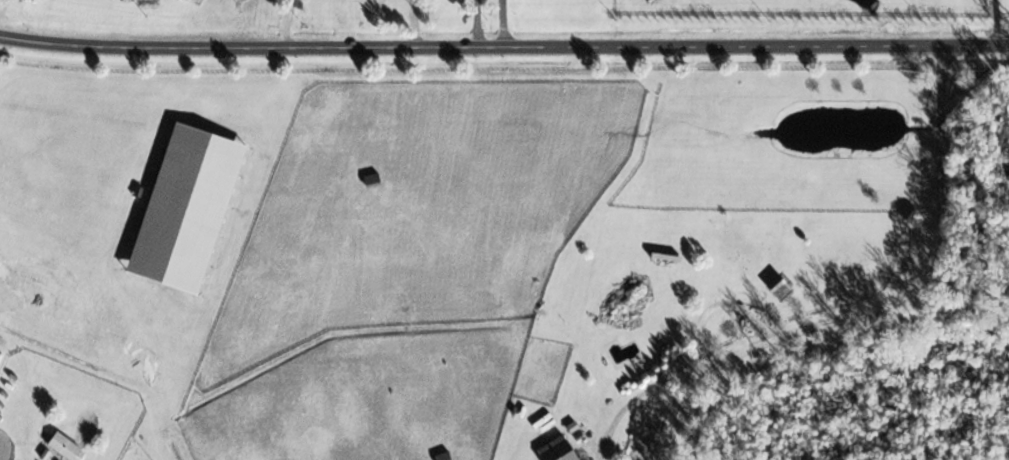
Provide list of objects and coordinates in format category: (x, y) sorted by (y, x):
road: (3, 11)
road: (997, 21)
road: (292, 22)
road: (416, 22)
road: (481, 23)
road: (508, 23)
road: (504, 46)
building: (372, 182)
building: (188, 214)
building: (779, 288)
road: (883, 305)
building: (614, 312)
building: (64, 446)
building: (556, 450)
building: (443, 456)

